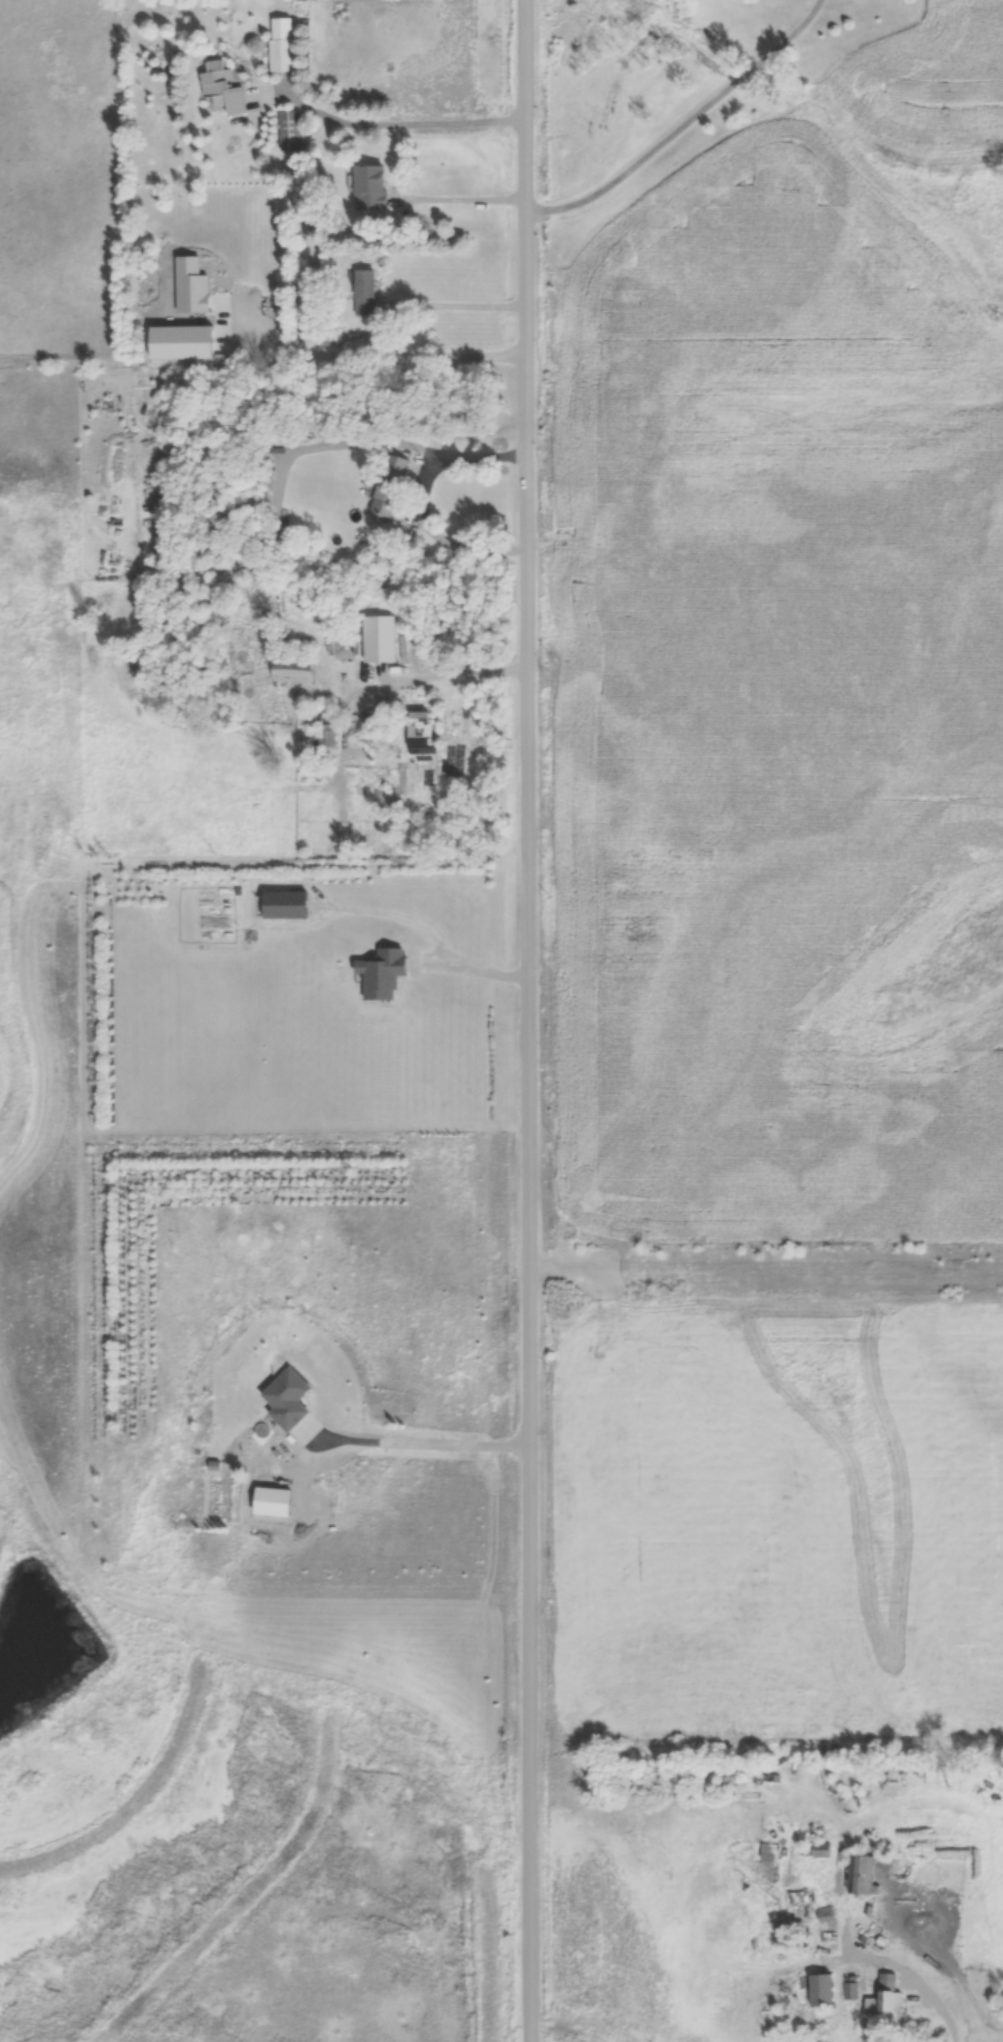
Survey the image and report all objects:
building: (284, 56)
building: (224, 89)
road: (390, 123)
road: (683, 124)
building: (291, 132)
building: (372, 189)
road: (463, 198)
building: (366, 293)
road: (458, 305)
building: (331, 337)
road: (369, 355)
building: (390, 487)
road: (422, 500)
building: (380, 640)
crop: (790, 670)
building: (295, 672)
road: (439, 675)
building: (421, 725)
building: (328, 739)
building: (287, 904)
building: (384, 972)
road: (528, 1021)
crop: (5, 1100)
building: (290, 1399)
road: (423, 1443)
crop: (786, 1527)
building: (822, 1849)
building: (771, 1851)
building: (865, 1875)
building: (801, 1897)
building: (827, 1914)
building: (852, 1991)
building: (825, 1992)
building: (887, 1999)

